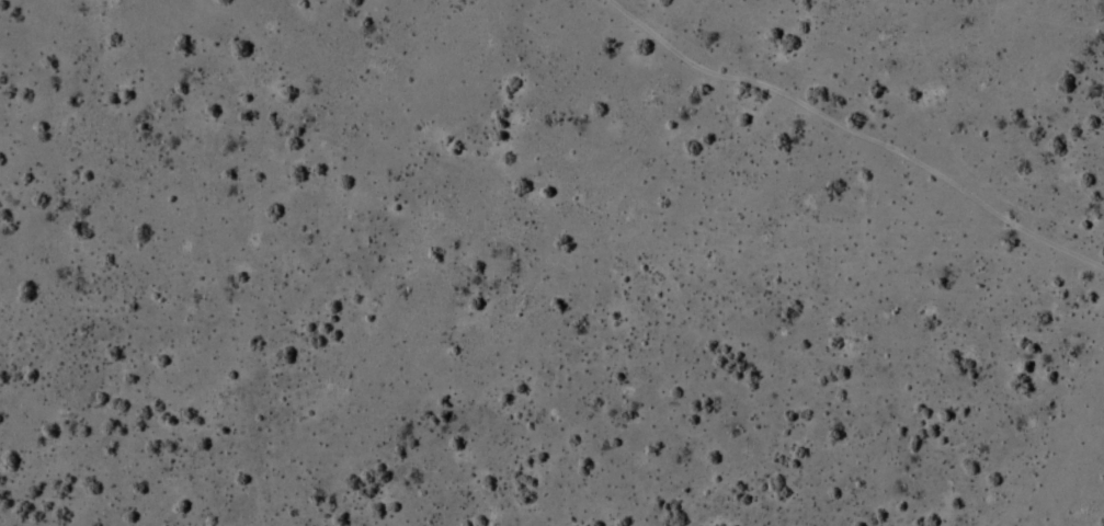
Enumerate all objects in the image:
road: (852, 170)

